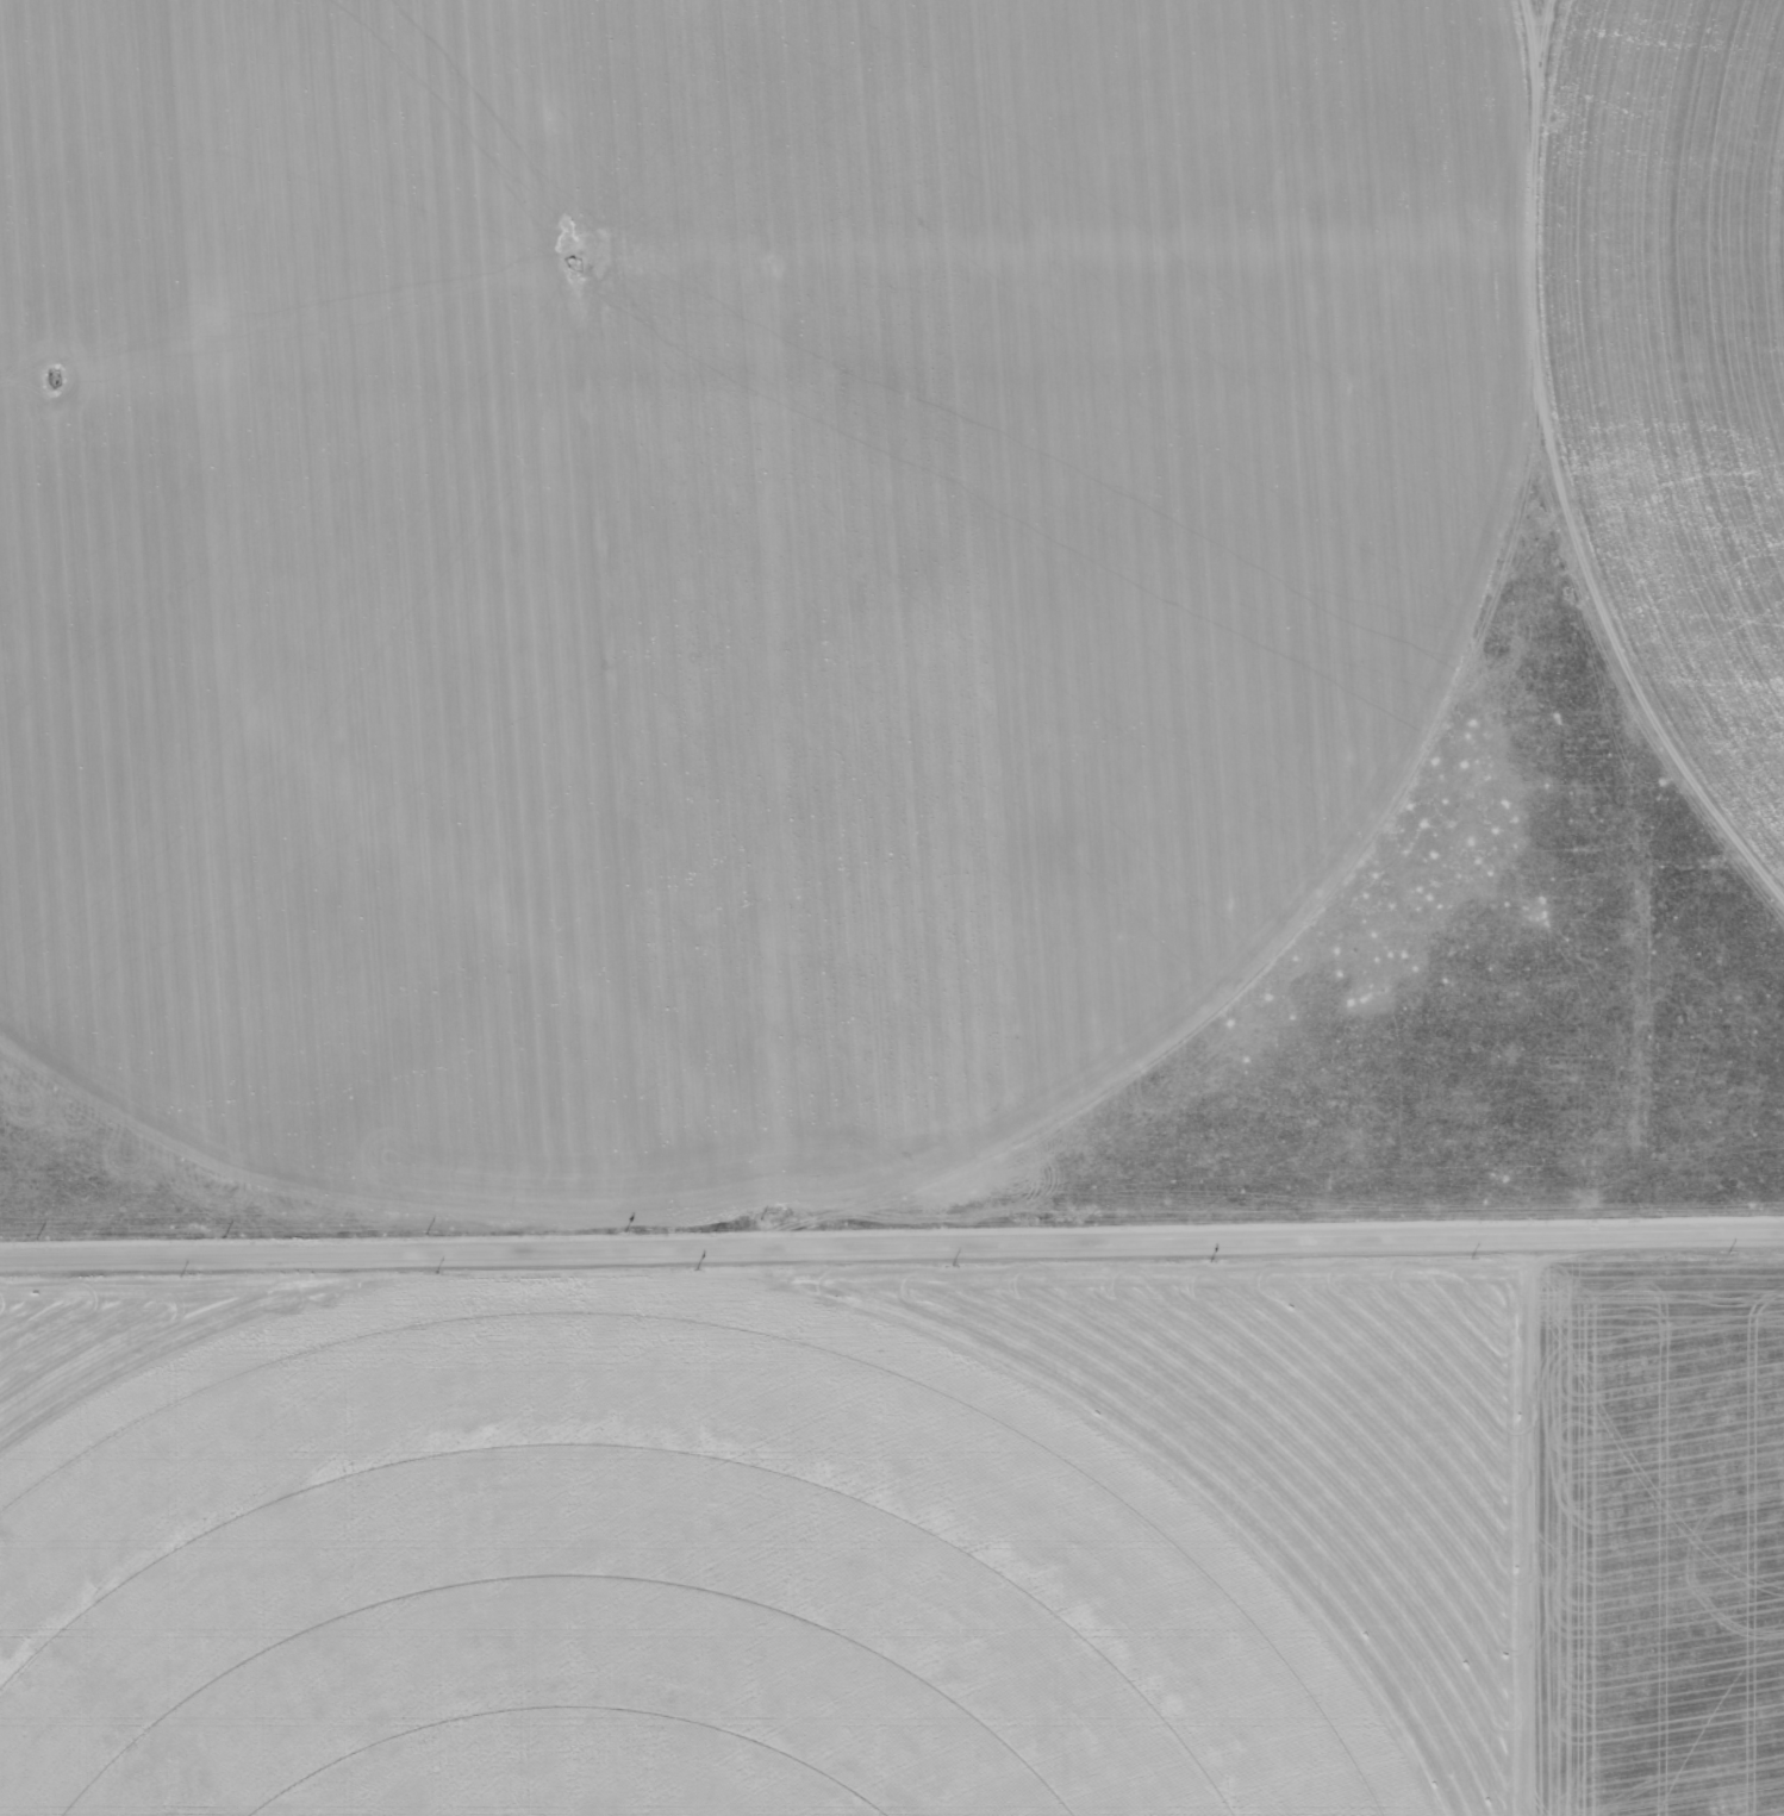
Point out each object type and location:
road: (891, 1244)

